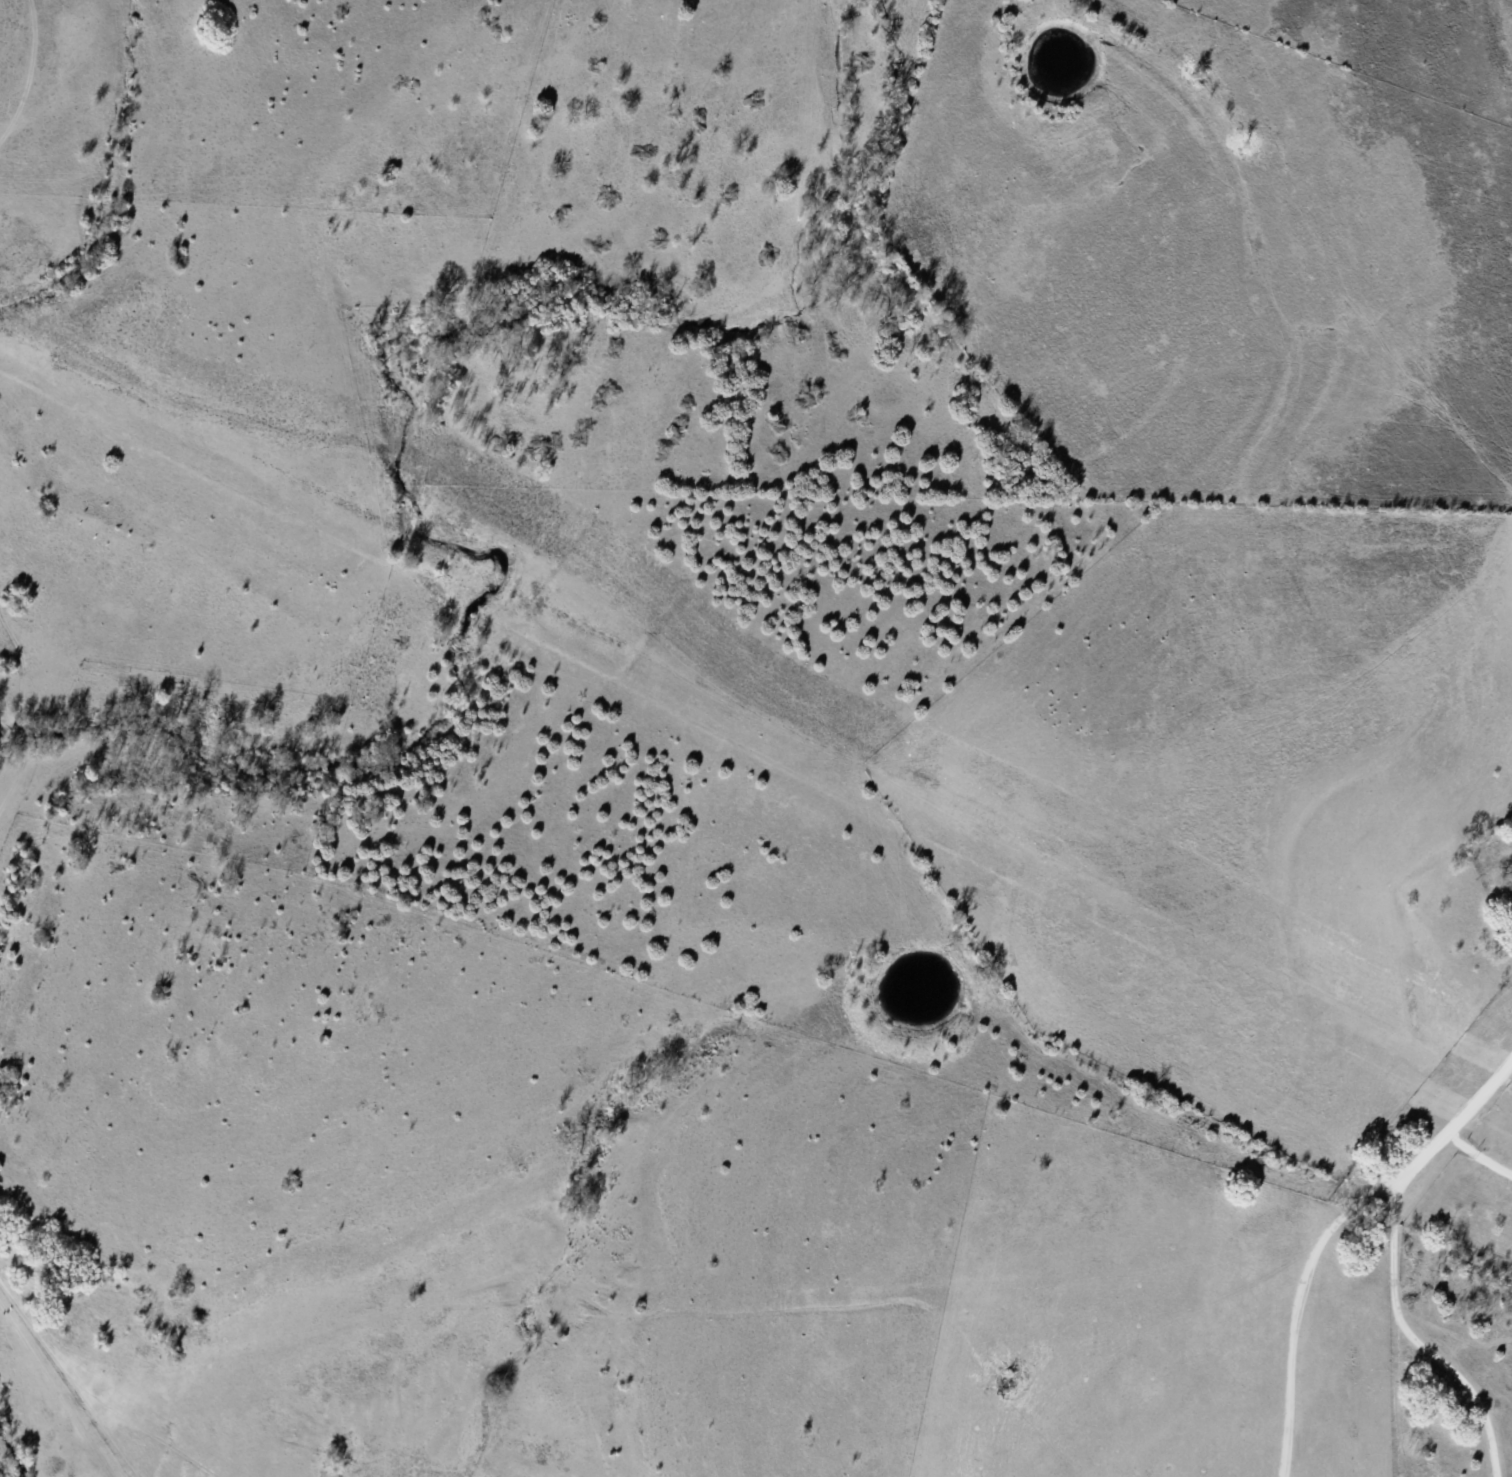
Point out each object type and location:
road: (1494, 745)
road: (1389, 1107)
road: (1392, 1290)

